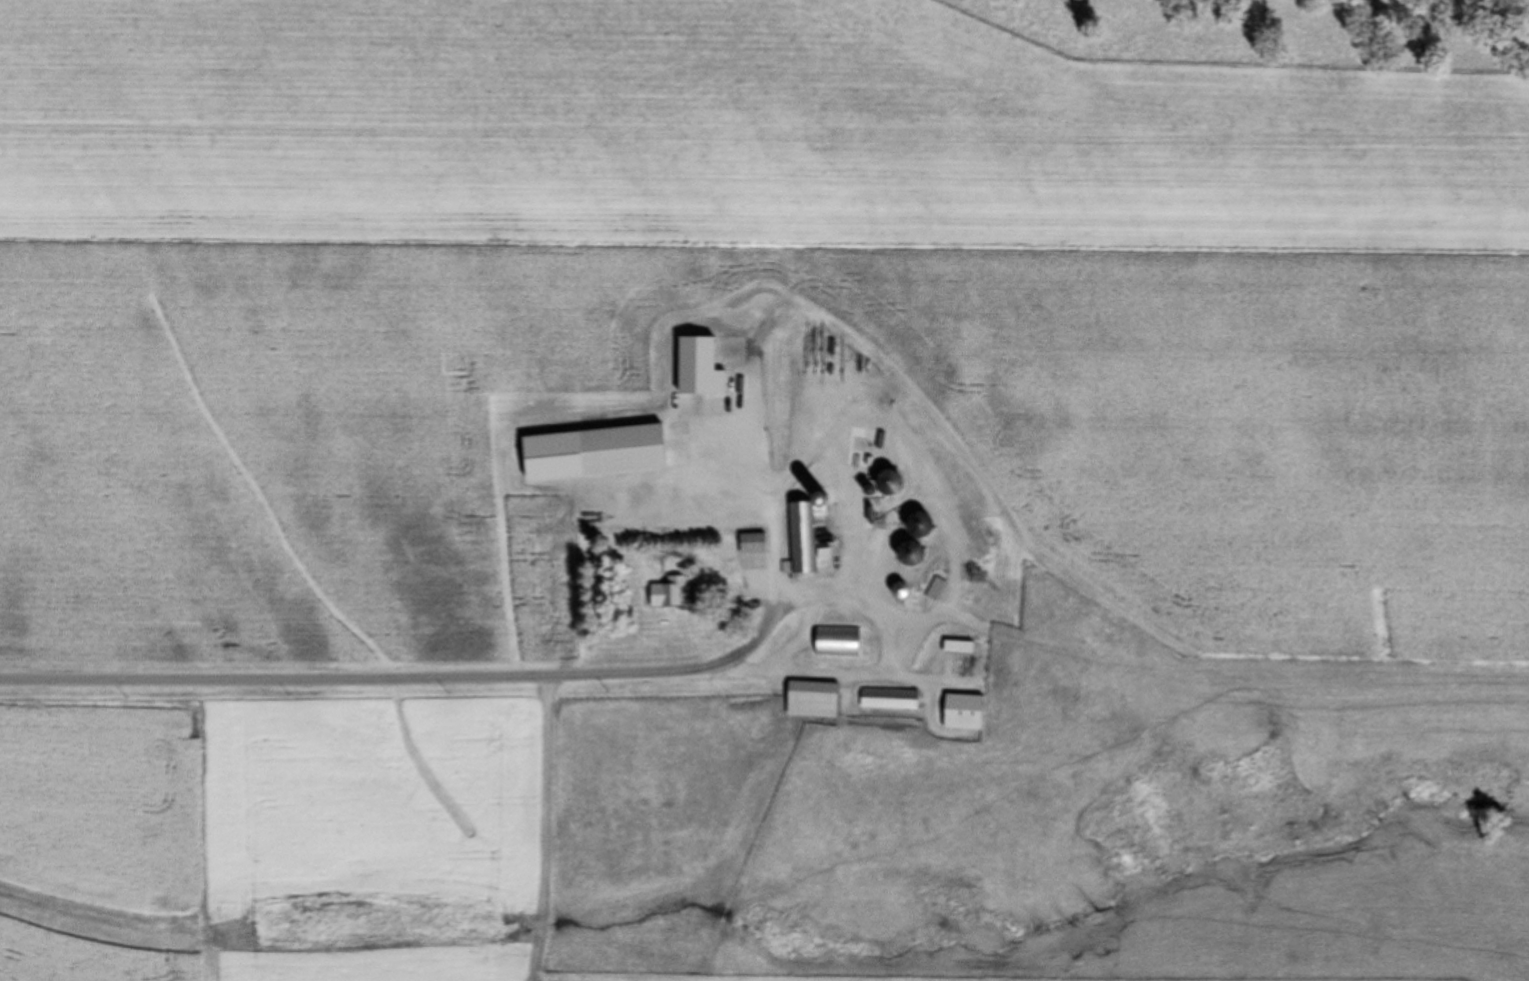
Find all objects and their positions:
building: (624, 450)
building: (802, 538)
building: (913, 553)
building: (902, 589)
building: (935, 589)
building: (670, 593)
building: (838, 642)
building: (958, 647)
road: (329, 681)
building: (890, 699)
building: (814, 700)
building: (964, 712)

